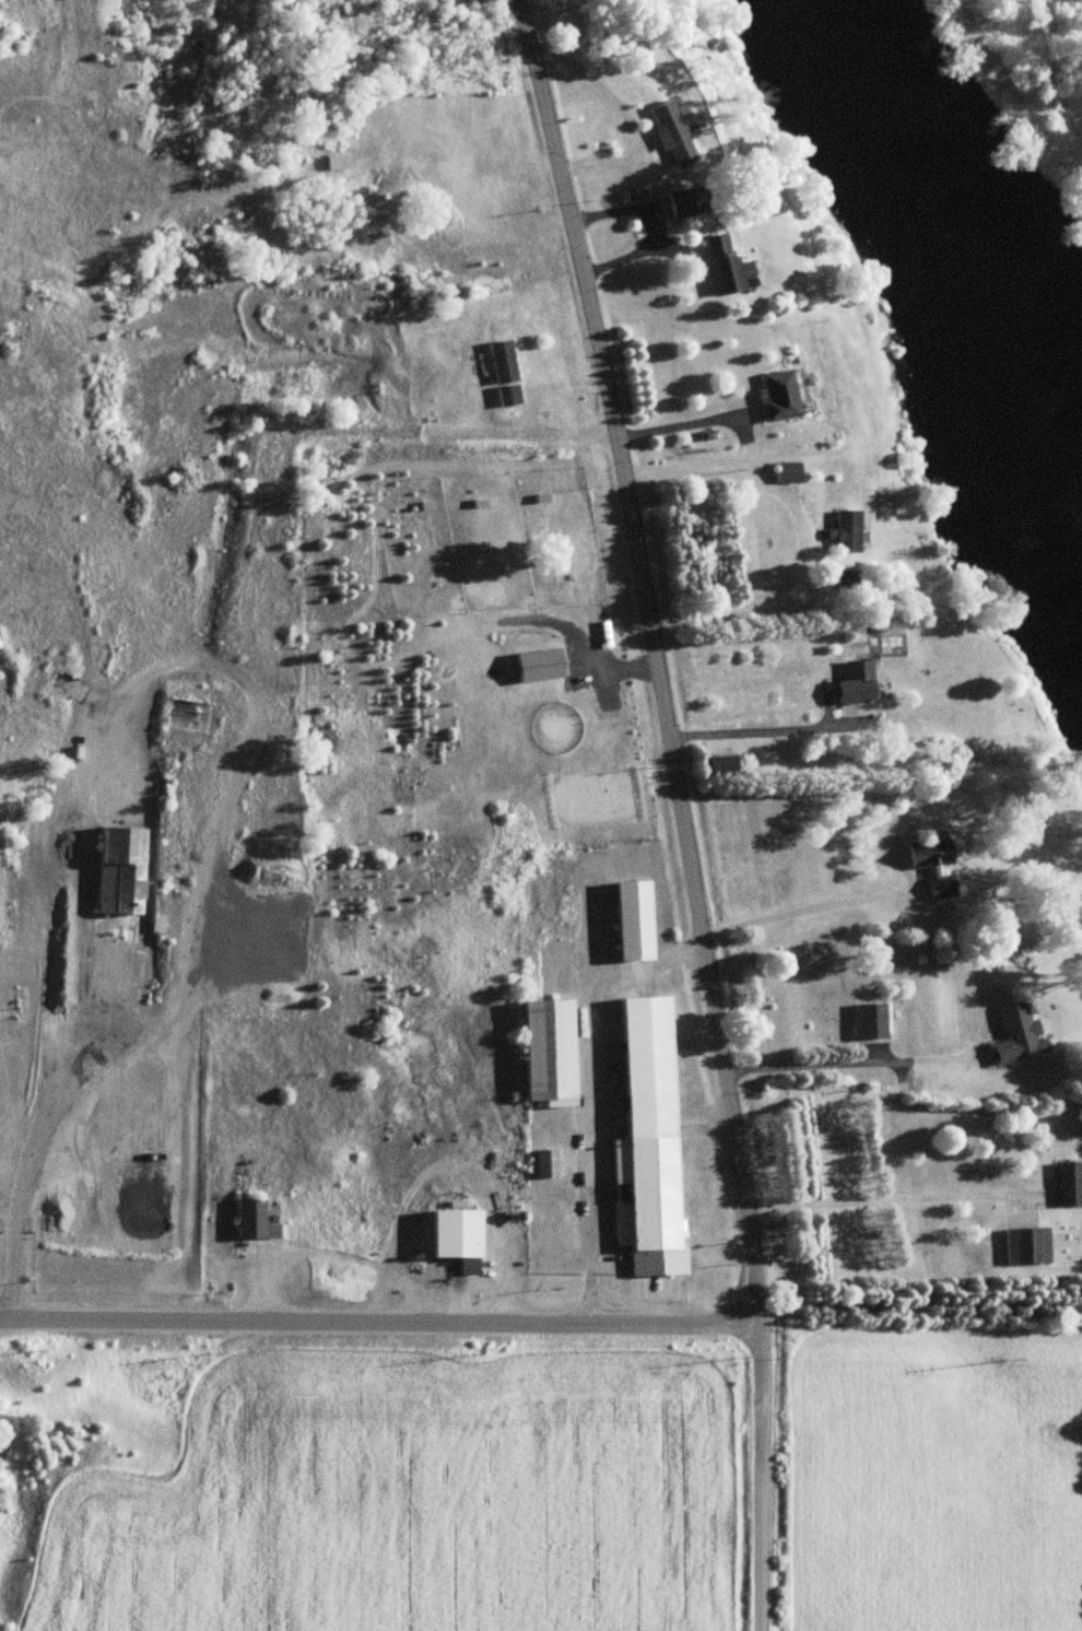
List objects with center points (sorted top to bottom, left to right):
building: (670, 132)
building: (337, 163)
building: (687, 202)
river: (944, 226)
building: (725, 267)
building: (503, 363)
building: (779, 396)
building: (787, 473)
building: (846, 532)
building: (856, 683)
road: (661, 696)
building: (934, 866)
building: (118, 871)
building: (633, 922)
building: (870, 1022)
building: (1015, 1035)
building: (647, 1047)
building: (550, 1054)
building: (546, 1165)
building: (1069, 1185)
building: (648, 1205)
building: (254, 1222)
building: (457, 1240)
building: (1026, 1247)
road: (376, 1313)
road: (754, 1516)

